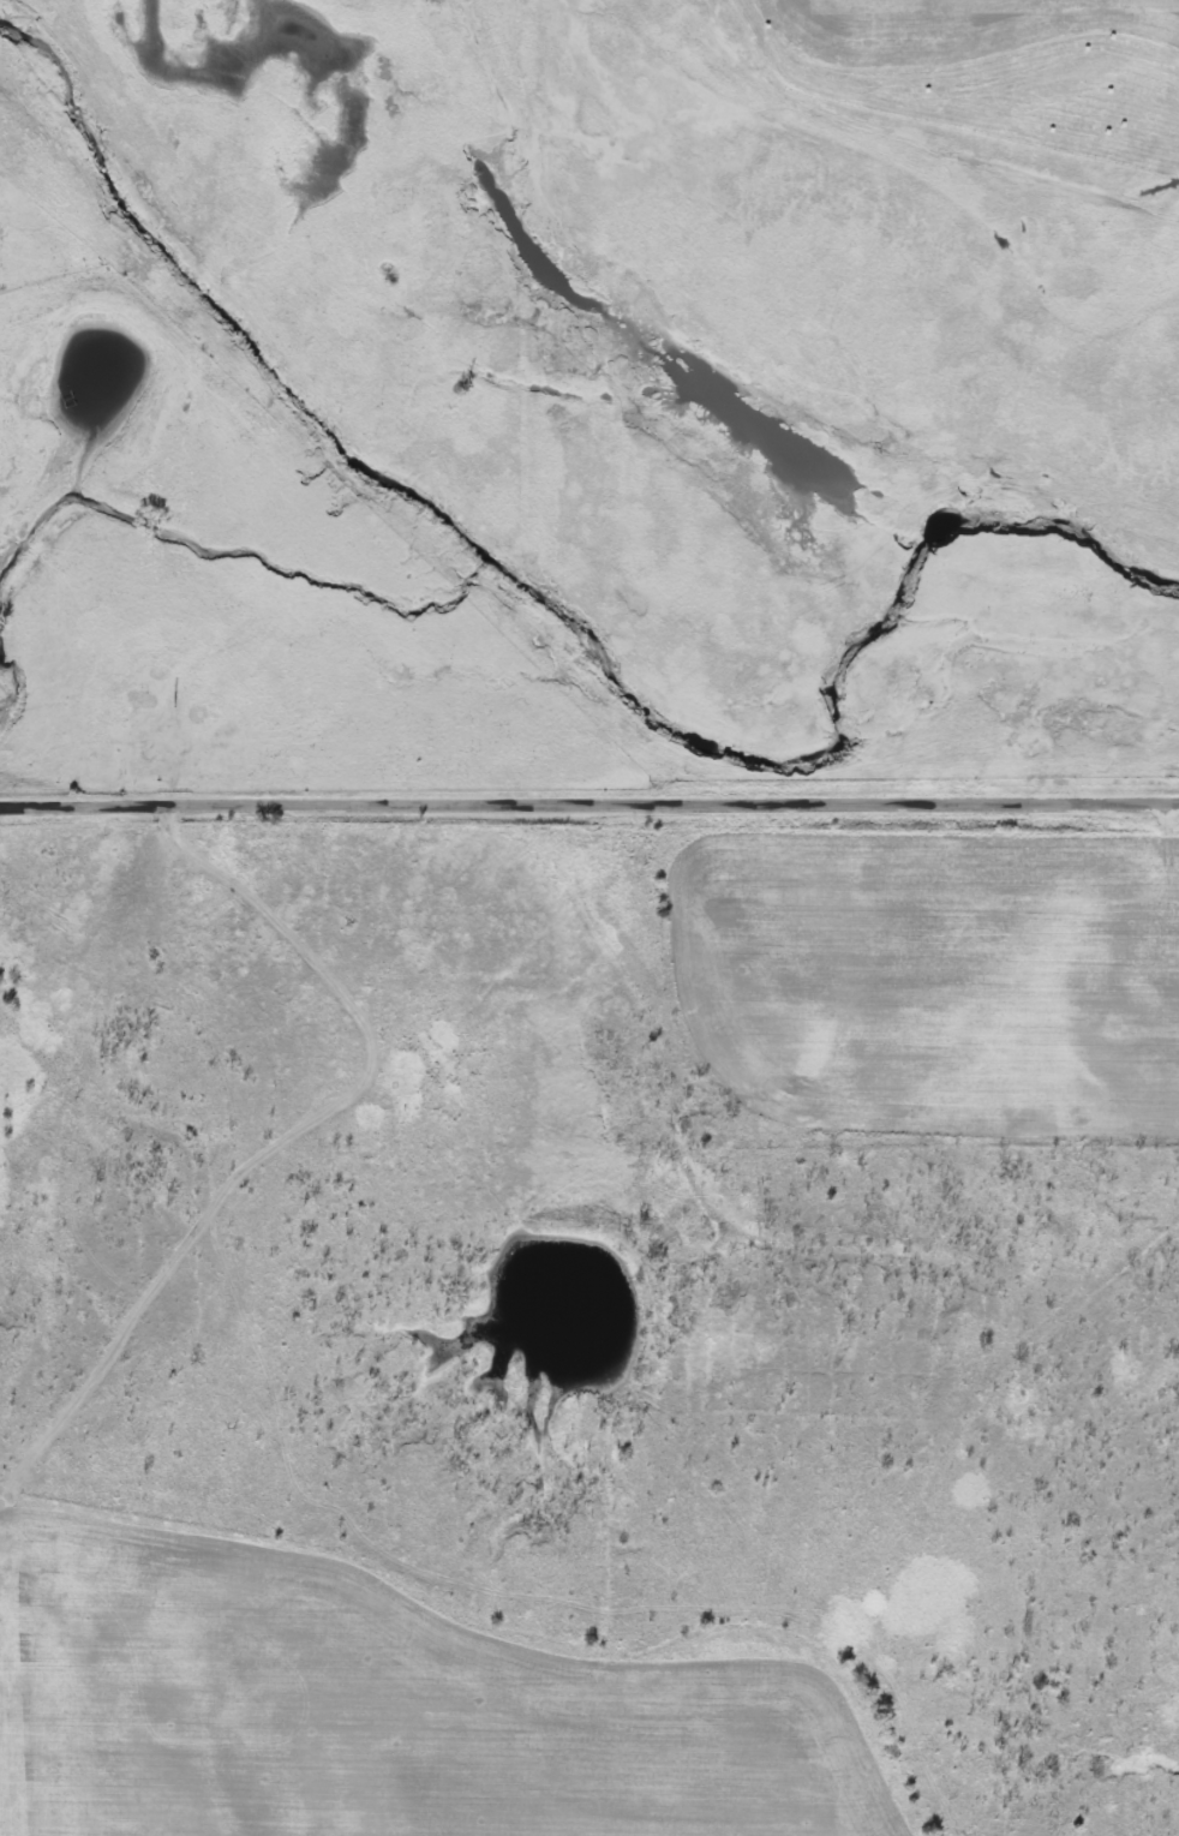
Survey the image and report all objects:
road: (589, 797)

